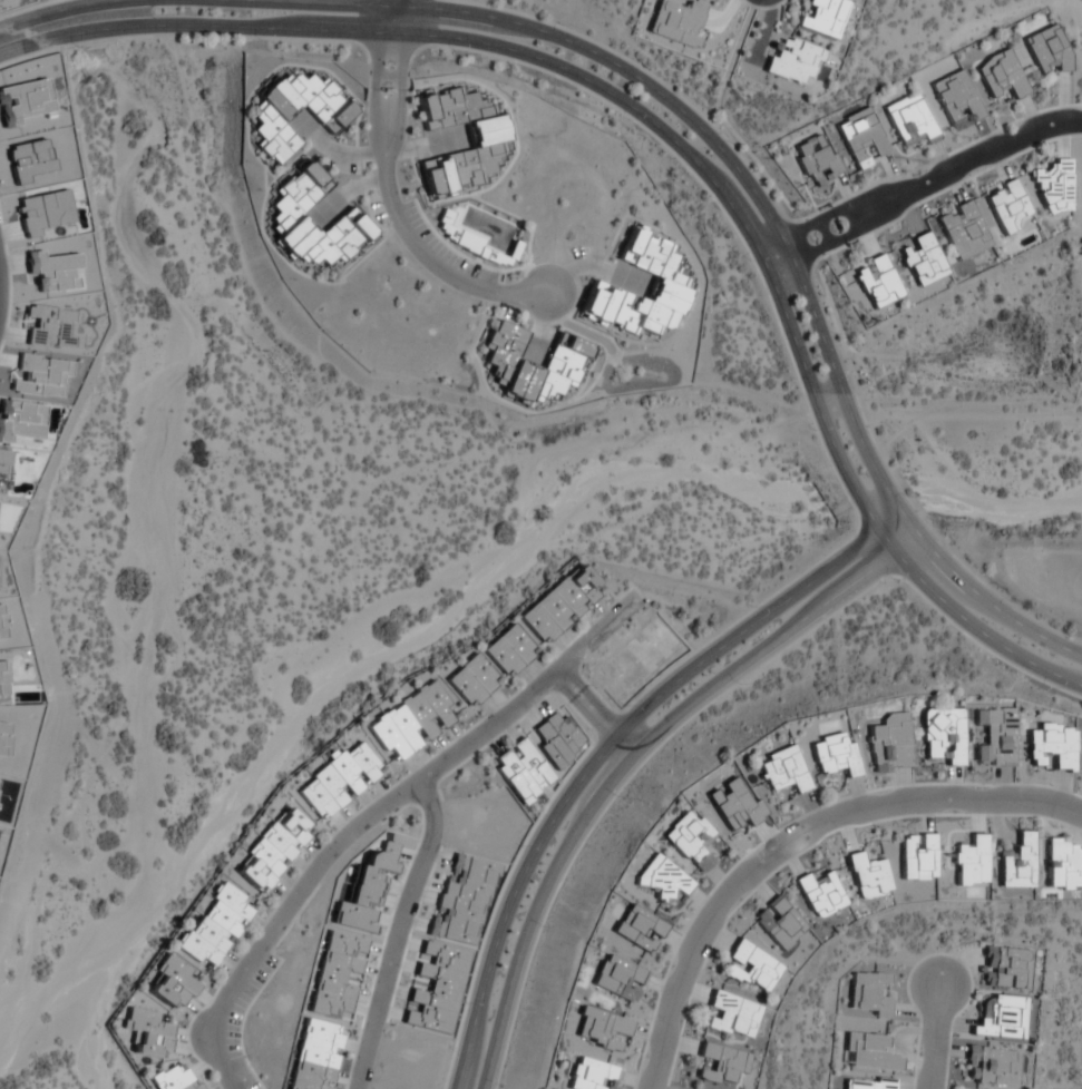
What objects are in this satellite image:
road: (386, 10)
building: (825, 17)
building: (1049, 50)
building: (795, 60)
building: (1001, 75)
building: (957, 100)
building: (270, 119)
road: (676, 121)
building: (910, 122)
building: (860, 137)
building: (489, 140)
building: (816, 160)
road: (928, 181)
building: (1054, 187)
building: (1007, 206)
building: (287, 210)
road: (390, 214)
building: (963, 229)
building: (507, 255)
building: (923, 259)
building: (877, 282)
building: (667, 290)
road: (0, 297)
building: (565, 361)
building: (558, 605)
building: (507, 651)
building: (471, 681)
road: (598, 715)
building: (411, 722)
building: (943, 736)
building: (995, 737)
building: (891, 744)
building: (1051, 747)
road: (602, 752)
building: (835, 755)
road: (627, 766)
building: (521, 771)
building: (783, 771)
building: (338, 781)
road: (376, 816)
road: (793, 841)
building: (692, 844)
building: (272, 851)
building: (917, 857)
building: (1016, 863)
building: (1062, 866)
building: (867, 876)
building: (662, 880)
building: (819, 894)
building: (779, 923)
building: (215, 926)
building: (637, 929)
road: (399, 935)
building: (751, 968)
building: (1005, 968)
building: (618, 979)
building: (170, 983)
building: (733, 1016)
building: (1002, 1017)
building: (146, 1033)
road: (934, 1039)
building: (869, 1052)
building: (315, 1056)
building: (722, 1063)
building: (992, 1066)
building: (593, 1075)
building: (174, 1079)
building: (868, 1085)

